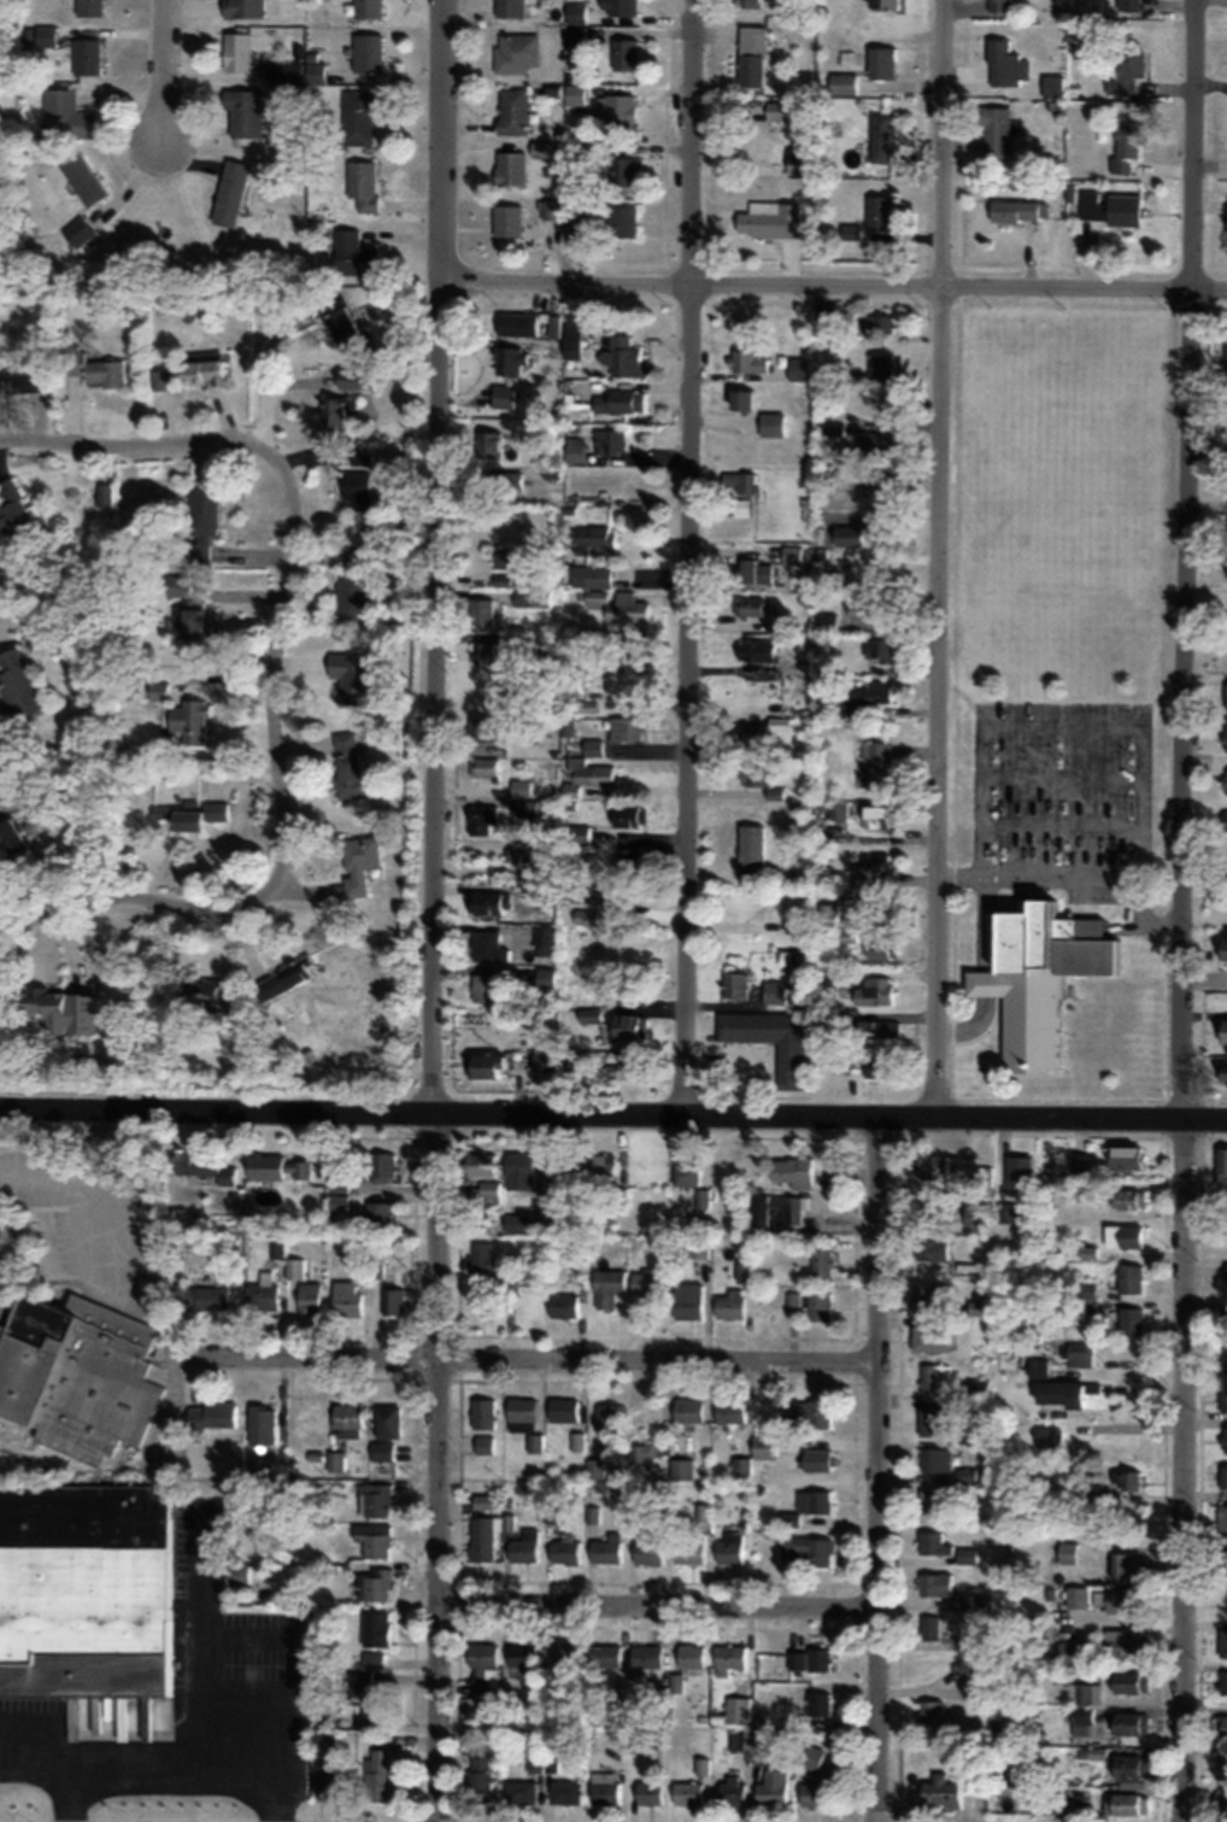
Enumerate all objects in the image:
building: (747, 4)
building: (1128, 4)
building: (881, 5)
building: (998, 6)
building: (88, 7)
building: (620, 7)
building: (243, 8)
building: (368, 8)
building: (510, 8)
building: (576, 13)
building: (43, 36)
building: (236, 49)
building: (366, 52)
building: (516, 52)
building: (624, 53)
building: (751, 55)
building: (86, 57)
building: (881, 61)
building: (1005, 64)
building: (1127, 69)
building: (284, 71)
road: (164, 74)
building: (843, 83)
building: (1052, 86)
building: (513, 110)
building: (777, 110)
building: (620, 111)
building: (245, 112)
building: (66, 115)
building: (358, 115)
building: (994, 133)
building: (882, 136)
building: (1126, 145)
building: (800, 160)
building: (510, 168)
building: (626, 170)
building: (83, 177)
building: (362, 183)
building: (229, 193)
building: (1111, 206)
building: (552, 209)
building: (1016, 210)
building: (879, 212)
building: (576, 215)
building: (506, 219)
building: (622, 221)
building: (769, 221)
building: (78, 232)
building: (851, 232)
building: (354, 253)
road: (833, 283)
building: (823, 322)
building: (341, 323)
building: (523, 323)
building: (879, 324)
building: (571, 340)
building: (1226, 353)
building: (624, 357)
building: (511, 358)
building: (747, 361)
building: (880, 364)
building: (201, 367)
building: (92, 369)
building: (22, 381)
building: (503, 396)
building: (164, 400)
building: (742, 400)
building: (618, 402)
building: (333, 410)
building: (832, 428)
building: (607, 441)
building: (489, 443)
road: (143, 444)
building: (874, 444)
building: (574, 449)
building: (503, 481)
building: (740, 481)
building: (870, 487)
building: (357, 490)
building: (591, 490)
building: (105, 494)
building: (741, 506)
building: (13, 508)
building: (200, 520)
building: (852, 535)
building: (595, 538)
building: (791, 553)
road: (689, 556)
building: (503, 557)
road: (939, 557)
building: (752, 570)
building: (589, 575)
building: (505, 580)
building: (353, 588)
building: (532, 598)
building: (618, 605)
building: (751, 605)
building: (865, 607)
building: (481, 611)
building: (192, 620)
building: (827, 622)
building: (776, 626)
building: (636, 648)
building: (755, 650)
building: (880, 650)
building: (483, 652)
building: (354, 676)
building: (17, 684)
building: (158, 691)
building: (864, 696)
building: (1225, 696)
building: (190, 721)
building: (777, 725)
building: (487, 728)
building: (624, 730)
building: (1225, 733)
building: (751, 738)
building: (875, 766)
building: (348, 767)
building: (485, 768)
building: (587, 771)
building: (753, 775)
road: (1063, 775)
building: (1225, 783)
building: (521, 787)
parking lot: (1063, 796)
building: (524, 807)
building: (215, 810)
building: (838, 812)
building: (628, 815)
building: (178, 816)
road: (286, 816)
building: (875, 818)
building: (481, 819)
building: (1225, 821)
road: (1062, 824)
building: (576, 833)
building: (750, 849)
building: (528, 851)
building: (358, 863)
building: (876, 866)
building: (627, 868)
road: (959, 874)
road: (981, 875)
building: (585, 892)
building: (844, 892)
building: (487, 903)
road: (435, 910)
road: (1185, 910)
building: (828, 914)
road: (1146, 914)
building: (585, 916)
building: (846, 938)
building: (545, 939)
building: (489, 947)
building: (881, 947)
building: (1221, 948)
building: (1038, 972)
building: (284, 978)
building: (544, 978)
building: (733, 984)
building: (486, 988)
building: (873, 990)
building: (775, 991)
building: (210, 997)
building: (45, 1008)
building: (844, 1020)
building: (629, 1025)
building: (879, 1029)
building: (1222, 1030)
building: (789, 1062)
building: (485, 1064)
building: (544, 1066)
building: (879, 1066)
building: (629, 1067)
building: (1221, 1070)
road: (1022, 1099)
road: (613, 1112)
building: (1125, 1156)
building: (479, 1164)
building: (205, 1165)
building: (382, 1165)
building: (278, 1166)
building: (564, 1166)
building: (932, 1166)
building: (1221, 1166)
building: (604, 1167)
building: (521, 1168)
building: (792, 1170)
building: (1017, 1171)
building: (687, 1172)
building: (981, 1174)
building: (339, 1182)
building: (487, 1189)
building: (1087, 1191)
building: (704, 1196)
building: (1127, 1197)
building: (340, 1201)
building: (759, 1212)
building: (976, 1212)
building: (380, 1213)
building: (793, 1213)
building: (1008, 1213)
building: (527, 1217)
building: (1226, 1231)
building: (1123, 1235)
building: (698, 1247)
building: (930, 1249)
building: (821, 1258)
building: (481, 1260)
building: (1226, 1271)
building: (1129, 1277)
building: (646, 1283)
building: (607, 1285)
building: (1087, 1290)
building: (928, 1293)
building: (263, 1295)
building: (310, 1296)
building: (211, 1297)
building: (346, 1299)
building: (392, 1300)
building: (687, 1300)
building: (793, 1300)
building: (562, 1303)
building: (732, 1305)
building: (818, 1305)
building: (1129, 1320)
building: (930, 1337)
building: (1079, 1353)
building: (1225, 1363)
road: (533, 1370)
building: (76, 1373)
building: (935, 1376)
building: (1057, 1393)
building: (1097, 1394)
building: (1223, 1396)
building: (563, 1408)
building: (688, 1410)
building: (730, 1410)
building: (810, 1411)
building: (483, 1412)
building: (521, 1413)
building: (215, 1416)
building: (346, 1419)
building: (386, 1420)
building: (932, 1420)
building: (607, 1423)
building: (262, 1424)
building: (1049, 1437)
building: (1225, 1437)
building: (483, 1443)
building: (382, 1451)
building: (756, 1455)
building: (937, 1458)
building: (336, 1459)
building: (815, 1459)
road: (877, 1467)
building: (682, 1469)
building: (967, 1475)
building: (1222, 1475)
building: (1127, 1477)
building: (1100, 1495)
building: (374, 1498)
building: (929, 1499)
building: (806, 1505)
building: (1222, 1516)
building: (482, 1537)
building: (374, 1539)
building: (933, 1541)
building: (524, 1546)
building: (730, 1547)
building: (808, 1548)
building: (606, 1549)
building: (565, 1551)
building: (648, 1551)
building: (688, 1551)
building: (1067, 1552)
building: (967, 1554)
building: (1222, 1560)
building: (1125, 1564)
building: (239, 1572)
building: (84, 1577)
building: (934, 1582)
building: (376, 1583)
building: (1076, 1597)
building: (1121, 1598)
road: (657, 1613)
building: (929, 1627)
building: (375, 1628)
building: (1222, 1640)
building: (1126, 1641)
building: (1073, 1652)
building: (523, 1654)
building: (568, 1656)
building: (606, 1656)
building: (647, 1656)
building: (692, 1656)
building: (372, 1657)
building: (732, 1657)
building: (811, 1659)
building: (969, 1659)
building: (482, 1666)
building: (1129, 1681)
building: (1223, 1681)
building: (1085, 1693)
building: (371, 1694)
building: (516, 1703)
building: (818, 1703)
building: (738, 1709)
building: (1084, 1713)
building: (933, 1716)
building: (1129, 1722)
building: (1222, 1726)
building: (323, 1739)
building: (750, 1740)
building: (1093, 1756)
building: (811, 1757)
building: (544, 1763)
building: (1221, 1764)
building: (1129, 1765)
building: (378, 1774)
building: (479, 1774)
building: (331, 1786)
building: (605, 1787)
building: (773, 1788)
building: (565, 1791)
building: (650, 1791)
building: (733, 1791)
building: (940, 1791)
building: (521, 1792)
building: (687, 1793)
building: (811, 1794)
building: (1080, 1800)
building: (1121, 1803)
building: (1222, 1804)

